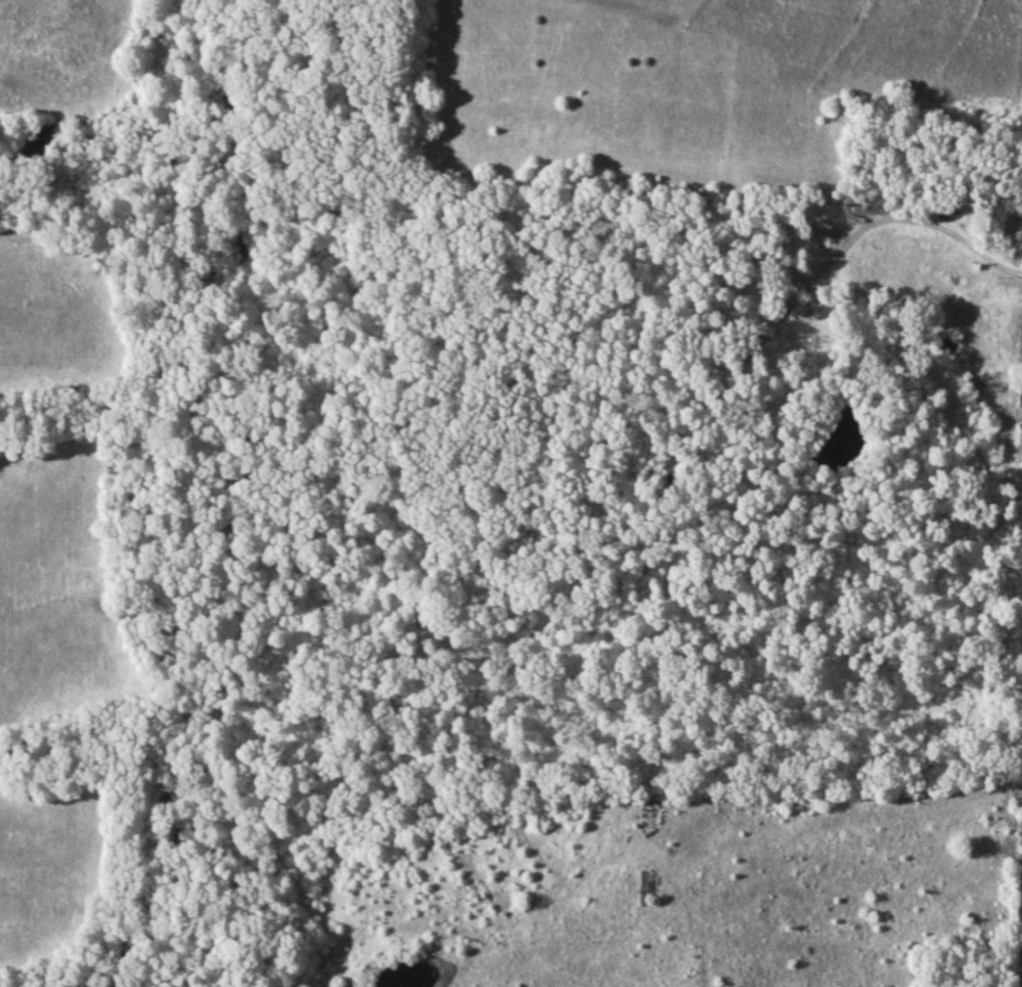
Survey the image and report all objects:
road: (964, 238)
building: (920, 245)
road: (652, 887)
building: (643, 888)

